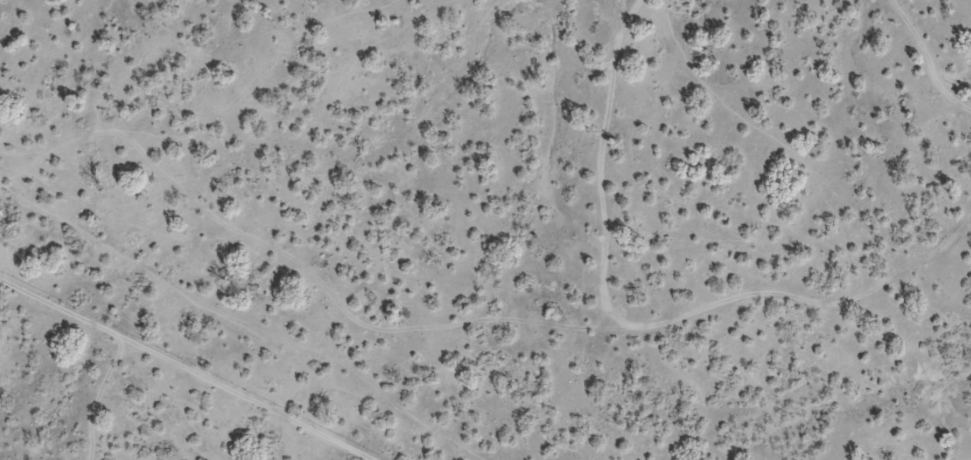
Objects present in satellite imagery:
road: (189, 369)

